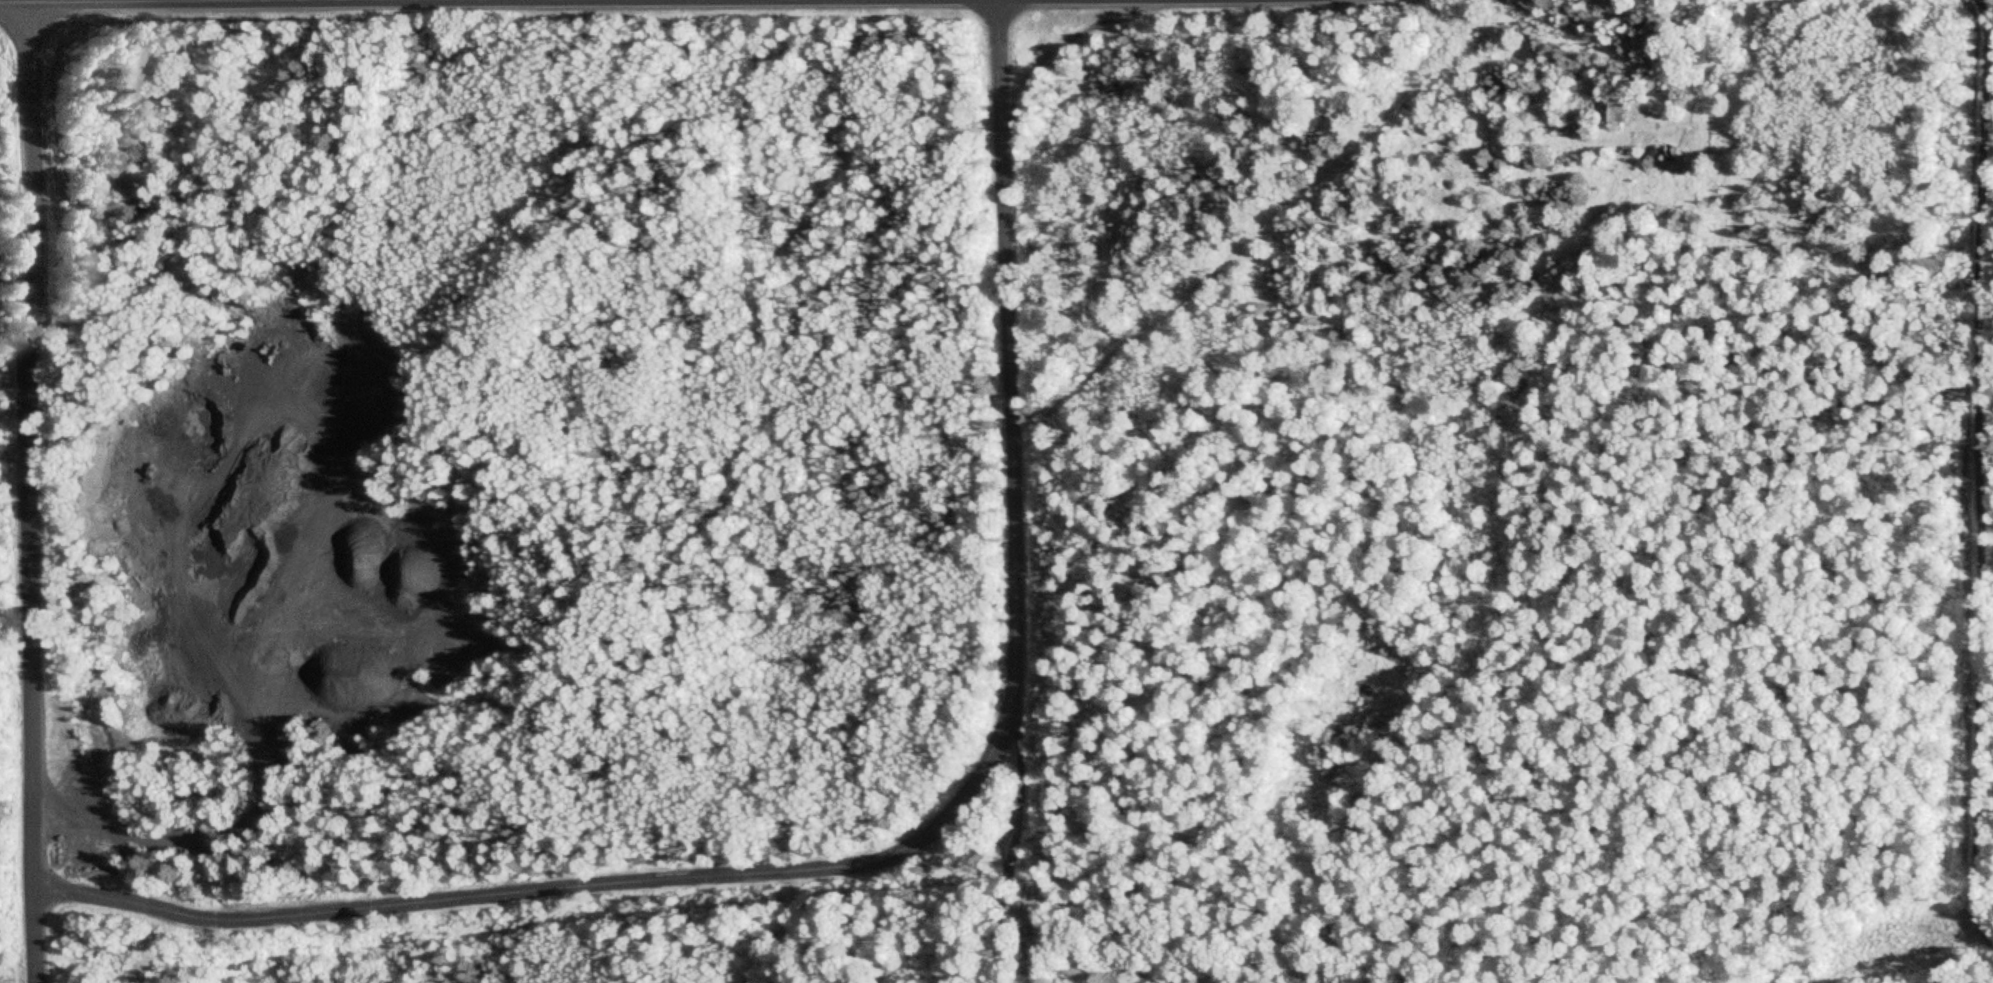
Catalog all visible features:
road: (502, 3)
road: (1905, 112)
road: (1983, 302)
road: (38, 494)
road: (1036, 838)
road: (916, 848)

